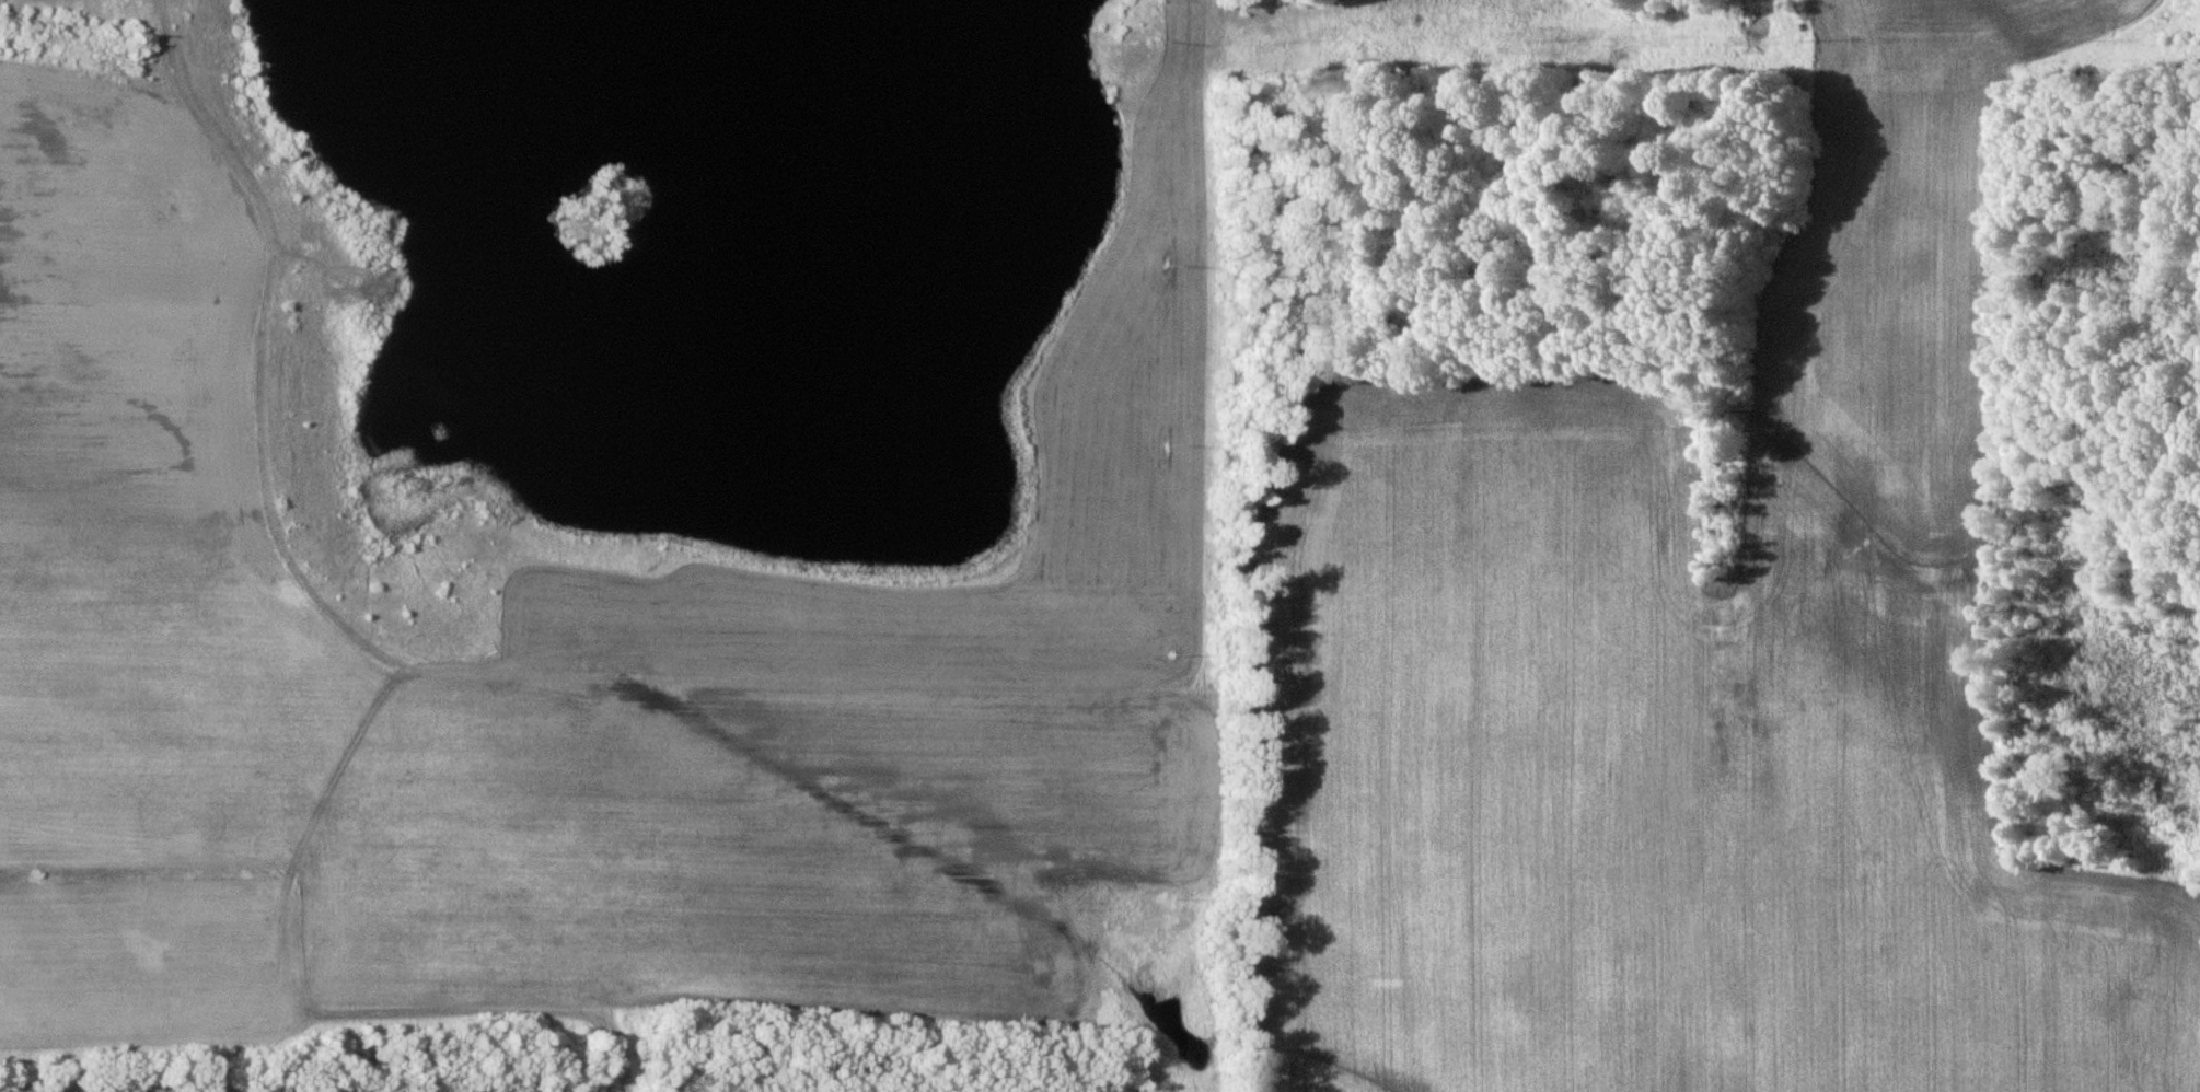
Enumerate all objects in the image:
road: (18, 147)

